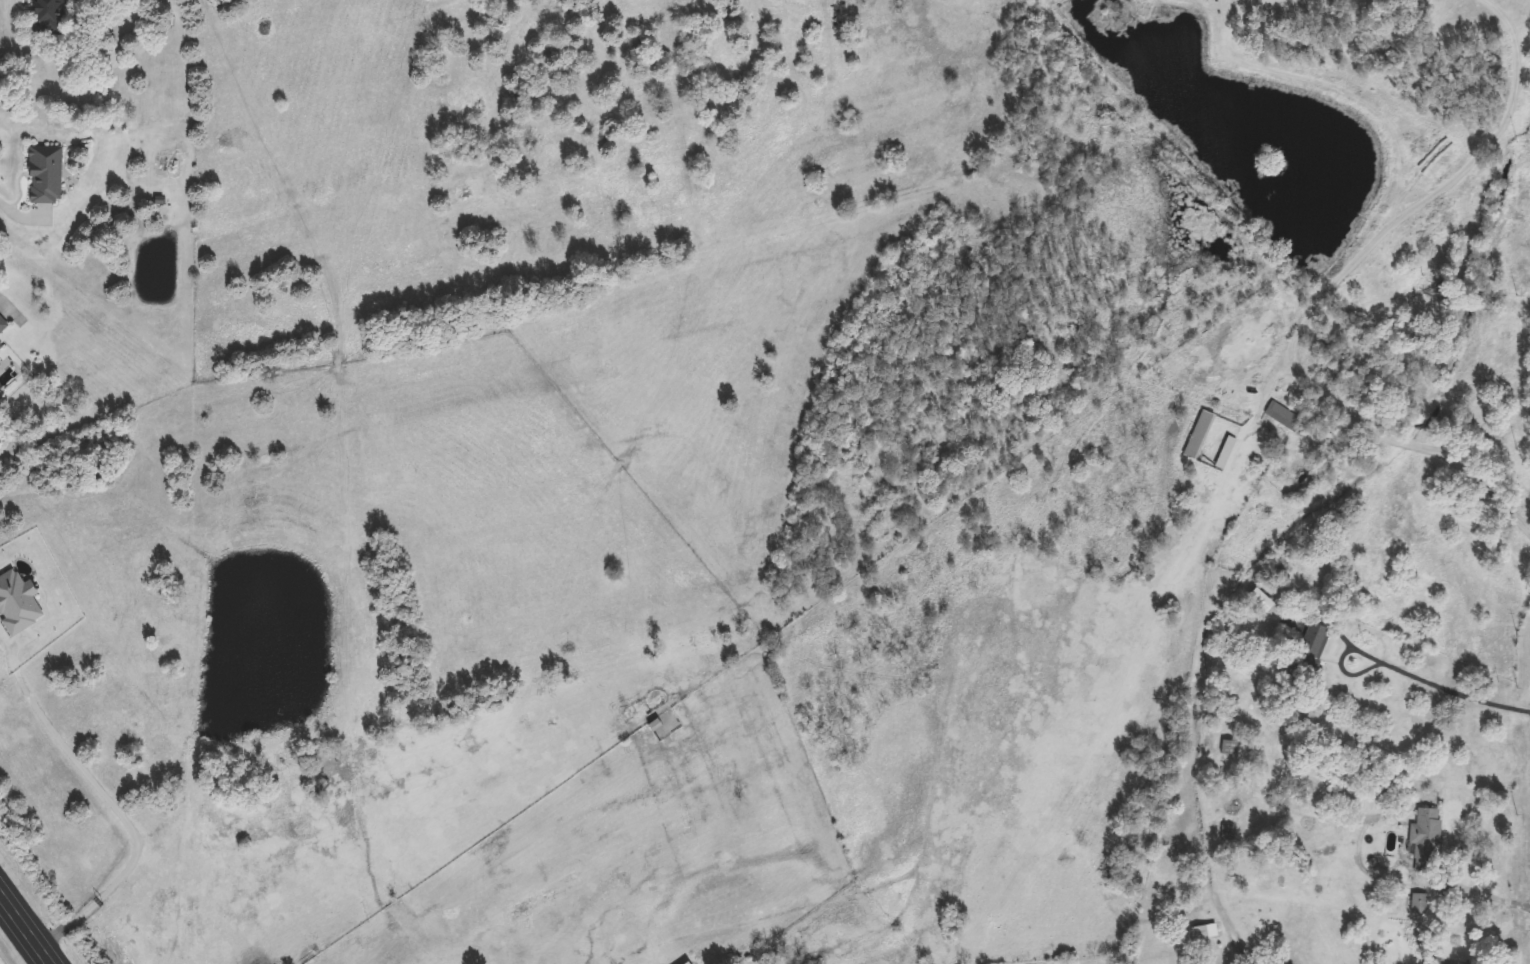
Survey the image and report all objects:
building: (50, 18)
building: (43, 176)
road: (25, 216)
road: (1395, 226)
building: (3, 325)
building: (2, 350)
building: (1284, 417)
building: (1200, 435)
building: (1227, 453)
road: (1215, 574)
building: (1262, 601)
building: (16, 604)
building: (1313, 647)
road: (1442, 687)
building: (1231, 747)
road: (120, 810)
building: (1229, 833)
building: (1427, 840)
road: (1476, 891)
road: (25, 928)
building: (1200, 933)
building: (1434, 960)
building: (688, 963)

